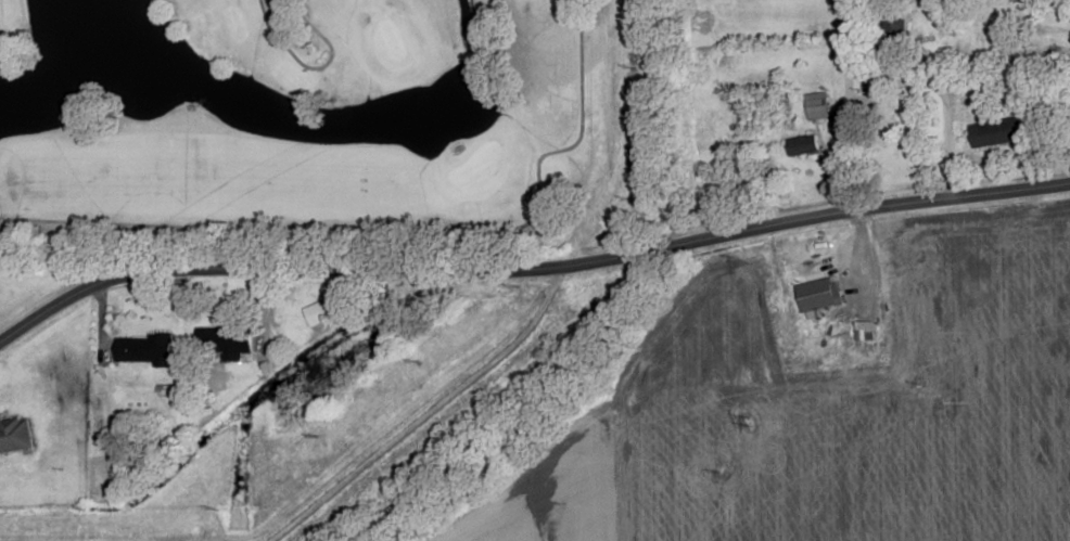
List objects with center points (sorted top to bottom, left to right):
road: (320, 73)
building: (817, 106)
road: (844, 108)
road: (583, 112)
road: (939, 118)
park: (318, 126)
road: (621, 128)
building: (998, 132)
building: (803, 145)
road: (303, 228)
road: (528, 261)
building: (316, 313)
building: (226, 343)
building: (144, 349)
building: (14, 434)

